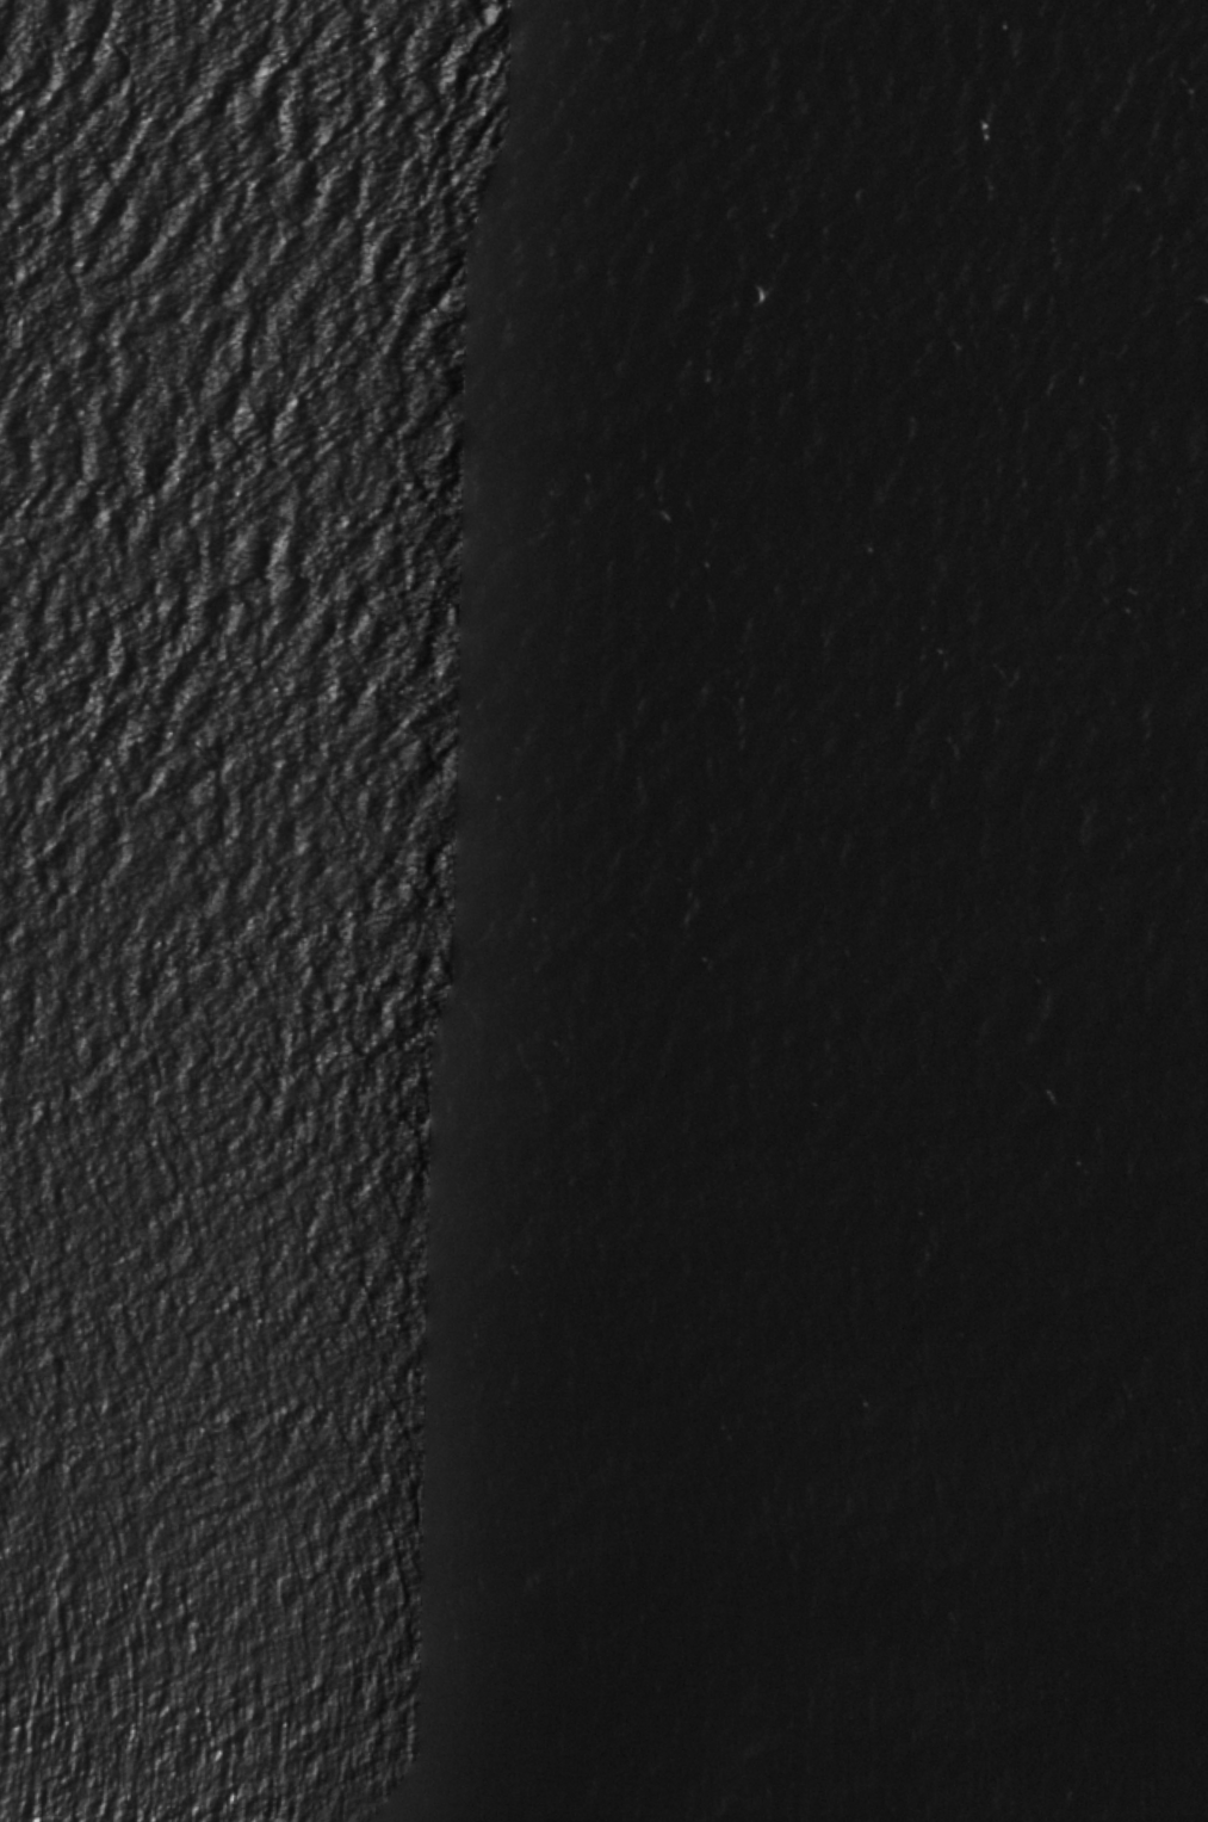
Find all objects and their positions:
river: (603, 606)

